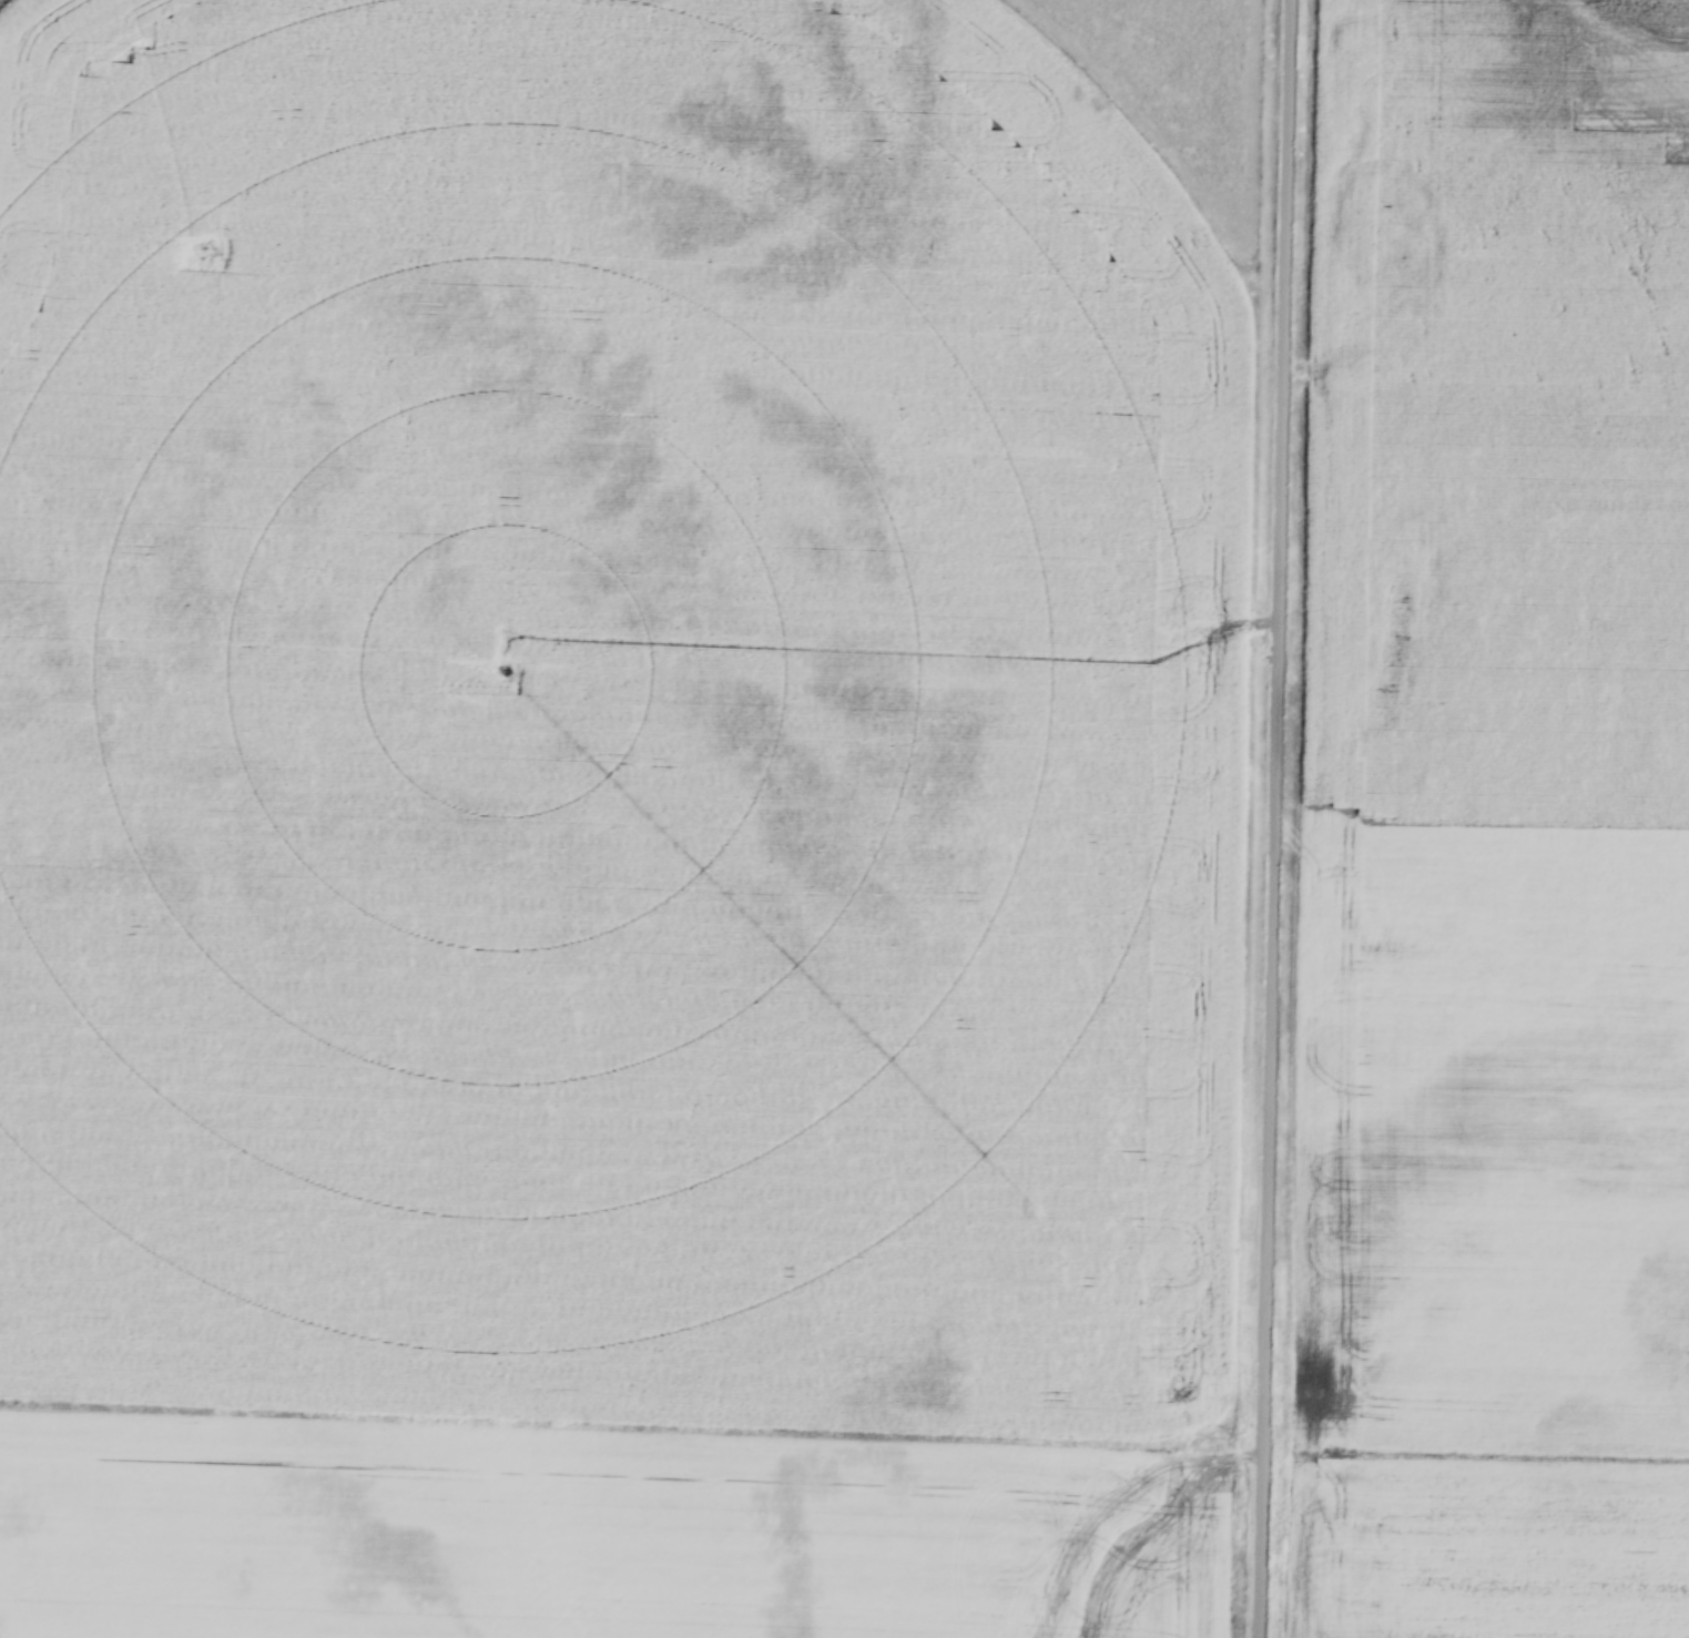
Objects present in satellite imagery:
road: (1361, 818)

